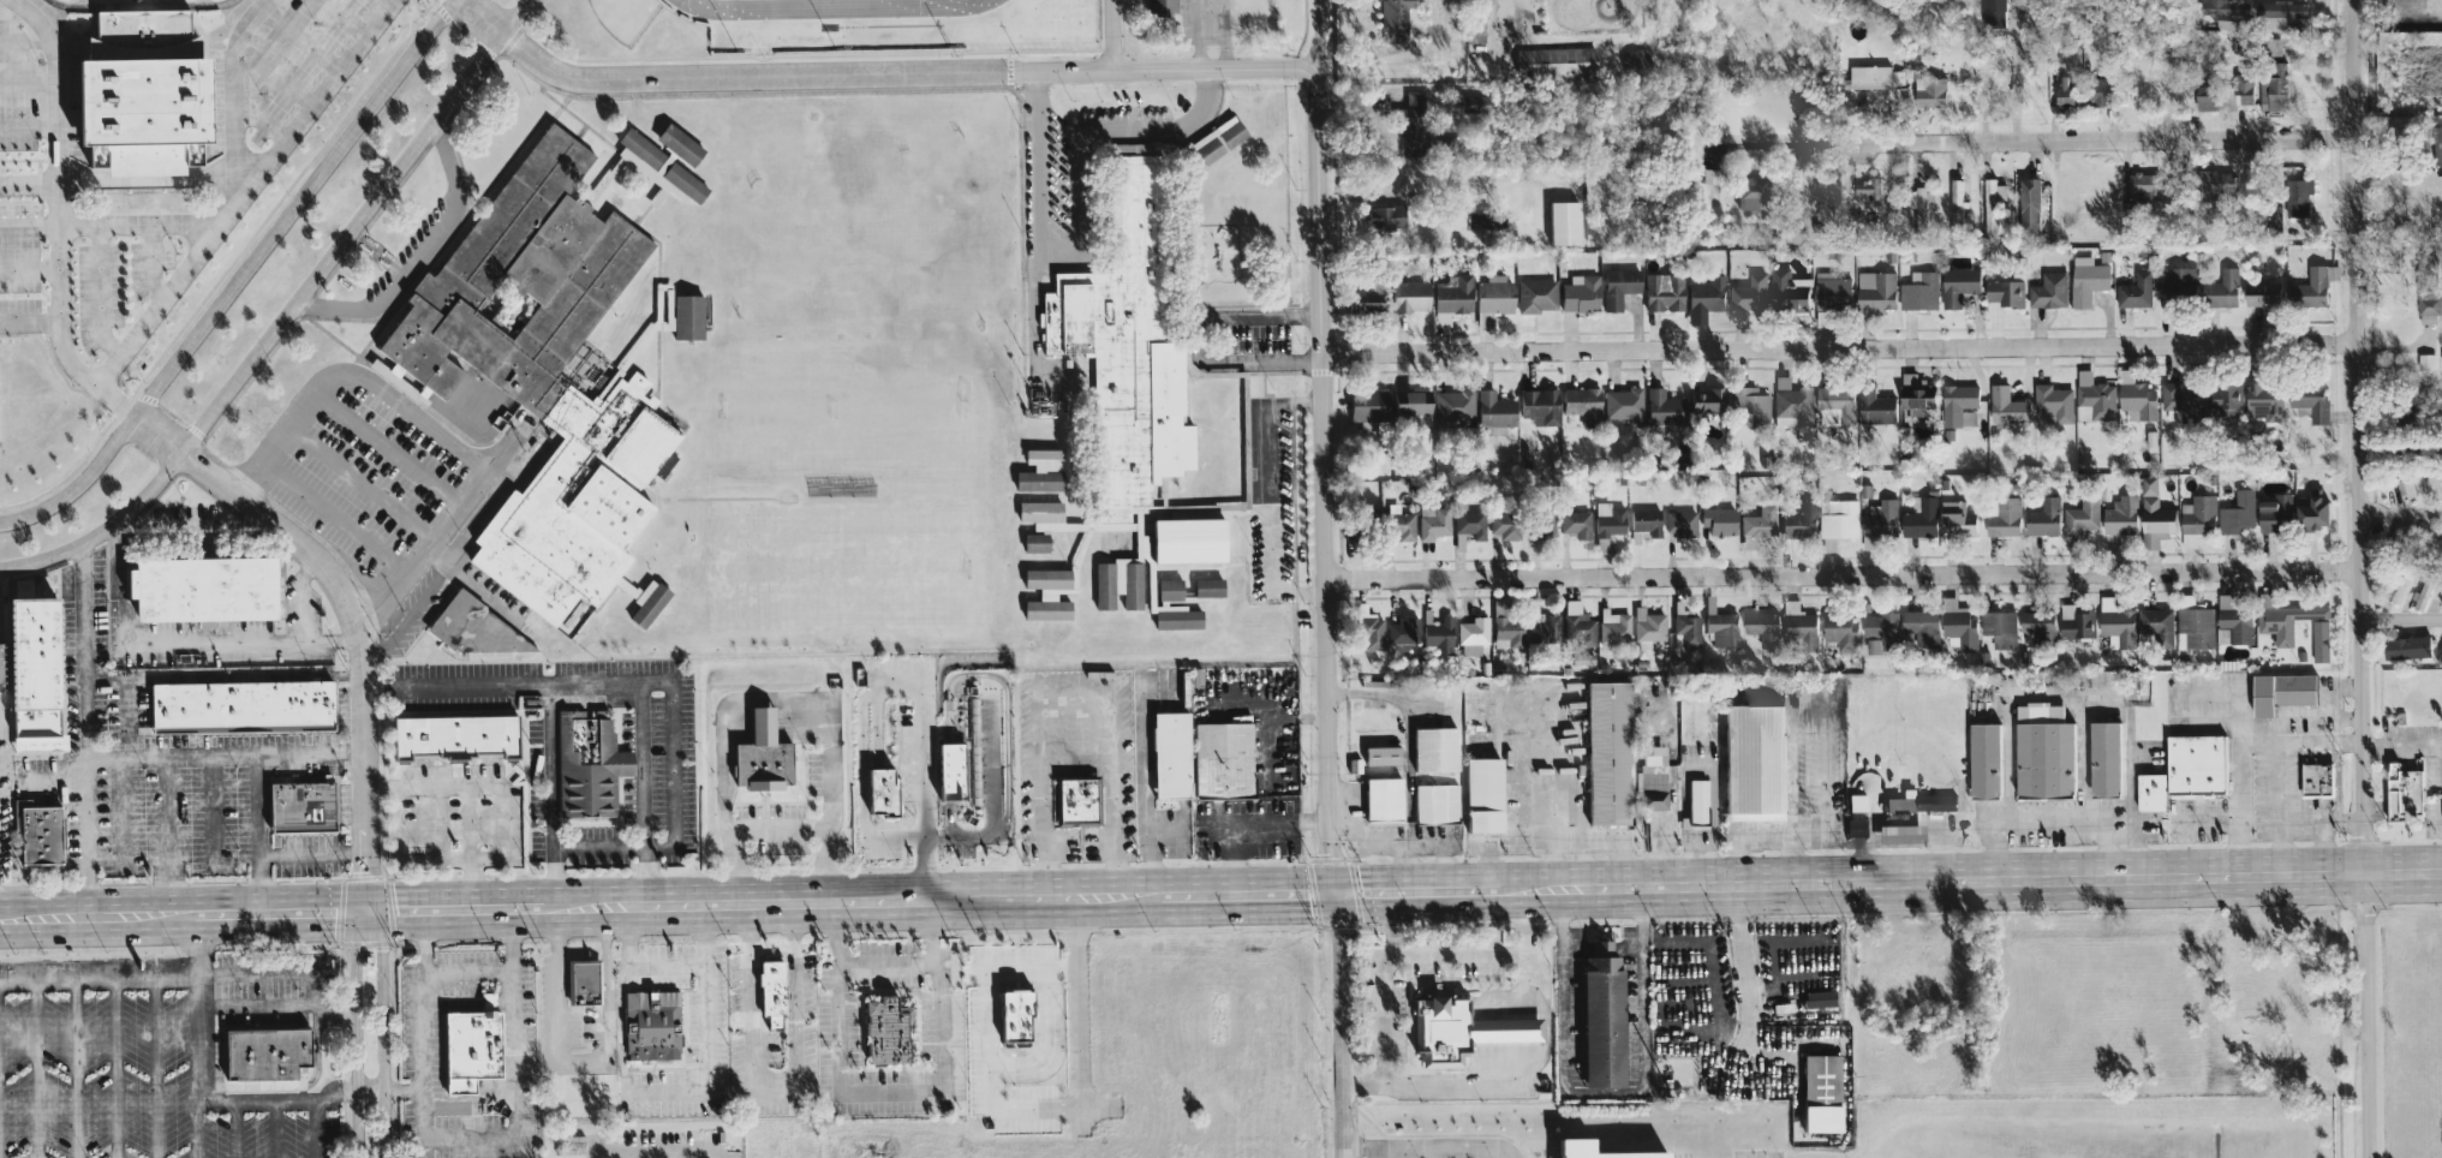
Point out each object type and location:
building: (2214, 6)
track: (838, 7)
building: (1163, 7)
building: (1993, 12)
building: (2277, 12)
road: (1505, 13)
stadium: (142, 19)
building: (1392, 19)
building: (1474, 20)
building: (2223, 23)
stadium: (890, 24)
road: (1111, 36)
building: (2271, 46)
parking lot: (295, 58)
building: (1553, 61)
road: (879, 74)
building: (1867, 76)
building: (2273, 86)
parking lot: (18, 88)
building: (2243, 88)
building: (2096, 90)
building: (1928, 91)
building: (2062, 91)
road: (234, 95)
building: (2228, 97)
building: (1474, 102)
building: (144, 106)
building: (1409, 124)
road: (1200, 129)
building: (1218, 138)
road: (2106, 139)
building: (675, 143)
road: (1786, 144)
building: (2436, 144)
building: (655, 163)
road: (2396, 177)
road: (1086, 178)
road: (29, 183)
building: (1867, 186)
building: (2141, 186)
building: (1745, 192)
road: (245, 193)
building: (2297, 196)
building: (2208, 199)
building: (1956, 201)
building: (1992, 203)
building: (2028, 204)
building: (1918, 205)
road: (58, 216)
building: (1384, 217)
building: (1560, 222)
road: (141, 223)
parking lot: (18, 247)
road: (422, 255)
road: (1037, 257)
road: (239, 277)
building: (2085, 279)
building: (2177, 281)
parking lot: (117, 285)
building: (1957, 285)
building: (1617, 286)
building: (2309, 287)
building: (1874, 288)
building: (2220, 288)
building: (1786, 289)
building: (2048, 289)
building: (2134, 289)
building: (1662, 291)
building: (1829, 291)
building: (1918, 291)
building: (2004, 291)
building: (1748, 292)
building: (1493, 293)
building: (1577, 293)
building: (1704, 293)
building: (2259, 293)
building: (1535, 294)
building: (1409, 296)
building: (1452, 298)
building: (1362, 300)
building: (2428, 303)
parking lot: (19, 310)
road: (286, 315)
building: (685, 316)
building: (1483, 321)
road: (30, 323)
building: (1128, 335)
road: (1192, 341)
road: (1838, 347)
building: (2425, 360)
building: (542, 377)
building: (437, 378)
building: (1915, 394)
building: (2134, 396)
building: (2222, 396)
building: (2309, 399)
building: (1704, 400)
building: (1791, 400)
building: (2053, 400)
building: (2264, 400)
building: (2095, 401)
building: (2178, 401)
building: (1581, 402)
building: (1622, 402)
building: (1750, 402)
building: (1958, 404)
building: (1410, 405)
building: (1453, 405)
building: (1834, 405)
building: (2006, 405)
building: (1538, 406)
building: (1873, 406)
building: (1366, 407)
building: (1661, 407)
building: (1492, 408)
road: (432, 436)
road: (1322, 443)
road: (390, 452)
building: (1038, 470)
road: (363, 485)
building: (2431, 485)
building: (2405, 487)
road: (1264, 497)
building: (2310, 509)
building: (1039, 512)
building: (2237, 512)
building: (2274, 512)
road: (2399, 513)
building: (2083, 514)
building: (2154, 514)
road: (339, 515)
building: (2002, 515)
building: (2120, 515)
building: (1918, 517)
building: (2043, 517)
building: (1837, 518)
building: (2196, 518)
building: (1797, 519)
building: (1954, 520)
building: (1716, 521)
building: (1759, 521)
building: (1877, 521)
building: (1398, 523)
building: (1432, 523)
building: (1469, 523)
building: (1575, 523)
building: (1679, 523)
building: (1542, 524)
building: (1643, 524)
building: (1607, 525)
building: (1504, 526)
building: (1032, 542)
building: (1827, 543)
road: (118, 561)
road: (1841, 574)
road: (2357, 578)
building: (1116, 583)
building: (1206, 586)
building: (2400, 586)
building: (193, 589)
building: (1166, 589)
road: (342, 593)
building: (1044, 593)
building: (2423, 593)
road: (300, 597)
road: (118, 598)
road: (118, 602)
building: (2441, 602)
building: (646, 605)
building: (2235, 616)
road: (2400, 619)
building: (2074, 621)
building: (2115, 622)
building: (1798, 623)
building: (2156, 623)
building: (2193, 623)
building: (1577, 625)
building: (1648, 625)
building: (1720, 625)
building: (1879, 625)
building: (1957, 625)
building: (2274, 625)
building: (1542, 626)
building: (1614, 626)
building: (1919, 626)
building: (1505, 627)
building: (1762, 627)
building: (1999, 627)
building: (2037, 627)
building: (1367, 628)
building: (1686, 629)
building: (1839, 629)
building: (1402, 633)
building: (1473, 635)
building: (1439, 637)
road: (223, 641)
building: (2405, 646)
building: (2440, 658)
building: (30, 671)
road: (222, 671)
road: (662, 682)
road: (1052, 685)
road: (1807, 686)
road: (2201, 690)
building: (2280, 691)
road: (2058, 696)
road: (778, 697)
road: (1005, 698)
road: (2333, 699)
building: (239, 706)
road: (125, 715)
road: (2202, 726)
road: (85, 727)
building: (448, 736)
road: (2298, 740)
road: (2401, 747)
building: (1434, 748)
building: (1605, 753)
road: (223, 754)
building: (757, 754)
building: (1168, 754)
building: (1380, 754)
building: (2042, 756)
road: (2004, 757)
road: (2080, 757)
building: (1983, 759)
building: (2103, 759)
building: (1219, 760)
road: (1827, 760)
building: (1751, 763)
building: (2193, 763)
building: (585, 765)
building: (945, 771)
building: (1649, 777)
road: (2237, 780)
building: (2315, 780)
road: (1787, 783)
road: (551, 792)
building: (878, 792)
building: (2149, 792)
road: (467, 793)
road: (1550, 793)
building: (2404, 793)
road: (923, 794)
building: (1481, 795)
building: (1383, 799)
building: (1079, 800)
building: (1933, 801)
building: (1856, 802)
building: (1897, 802)
building: (1435, 804)
building: (1697, 804)
road: (2276, 805)
building: (294, 806)
road: (208, 810)
road: (990, 810)
road: (1289, 811)
road: (2047, 818)
road: (2202, 818)
road: (1868, 826)
road: (256, 831)
road: (169, 832)
road: (778, 832)
building: (1899, 834)
building: (36, 835)
road: (1781, 835)
road: (2103, 844)
road: (1604, 846)
road: (1990, 847)
road: (310, 854)
road: (1151, 855)
road: (1738, 858)
road: (1423, 864)
road: (1584, 864)
road: (1965, 875)
road: (651, 876)
road: (1409, 885)
traffic signals: (1331, 888)
road: (1241, 889)
road: (853, 895)
road: (533, 902)
road: (446, 905)
traffic signals: (354, 906)
road: (368, 906)
traffic signals: (381, 906)
road: (275, 907)
road: (97, 911)
road: (838, 925)
road: (1576, 948)
road: (1600, 948)
road: (1626, 948)
road: (1493, 951)
road: (925, 954)
road: (1832, 960)
road: (638, 962)
road: (157, 975)
road: (468, 977)
road: (1383, 983)
building: (581, 984)
road: (1528, 989)
building: (768, 992)
road: (1745, 992)
road: (316, 995)
building: (1816, 998)
road: (382, 1010)
road: (354, 1011)
road: (1075, 1011)
building: (1010, 1014)
building: (1600, 1016)
road: (712, 1017)
road: (273, 1019)
road: (1337, 1022)
building: (649, 1025)
road: (1506, 1029)
building: (883, 1031)
building: (1457, 1031)
road: (985, 1043)
building: (467, 1045)
building: (259, 1053)
road: (578, 1062)
road: (1507, 1062)
road: (190, 1066)
road: (74, 1067)
road: (114, 1067)
road: (153, 1067)
road: (36, 1068)
parking lot: (135, 1069)
road: (1437, 1084)
road: (370, 1090)
road: (402, 1092)
road: (1605, 1092)
building: (1813, 1093)
road: (782, 1094)
road: (180, 1102)
road: (315, 1128)
road: (233, 1129)
road: (273, 1129)
road: (467, 1142)
parking lot: (668, 1146)
building: (1569, 1147)
road: (1456, 1148)
road: (424, 1150)
road: (509, 1150)
road: (1371, 1150)
road: (675, 1153)
road: (1399, 1153)
road: (1440, 1153)
road: (1491, 1153)
road: (611, 1154)
road: (677, 1156)

